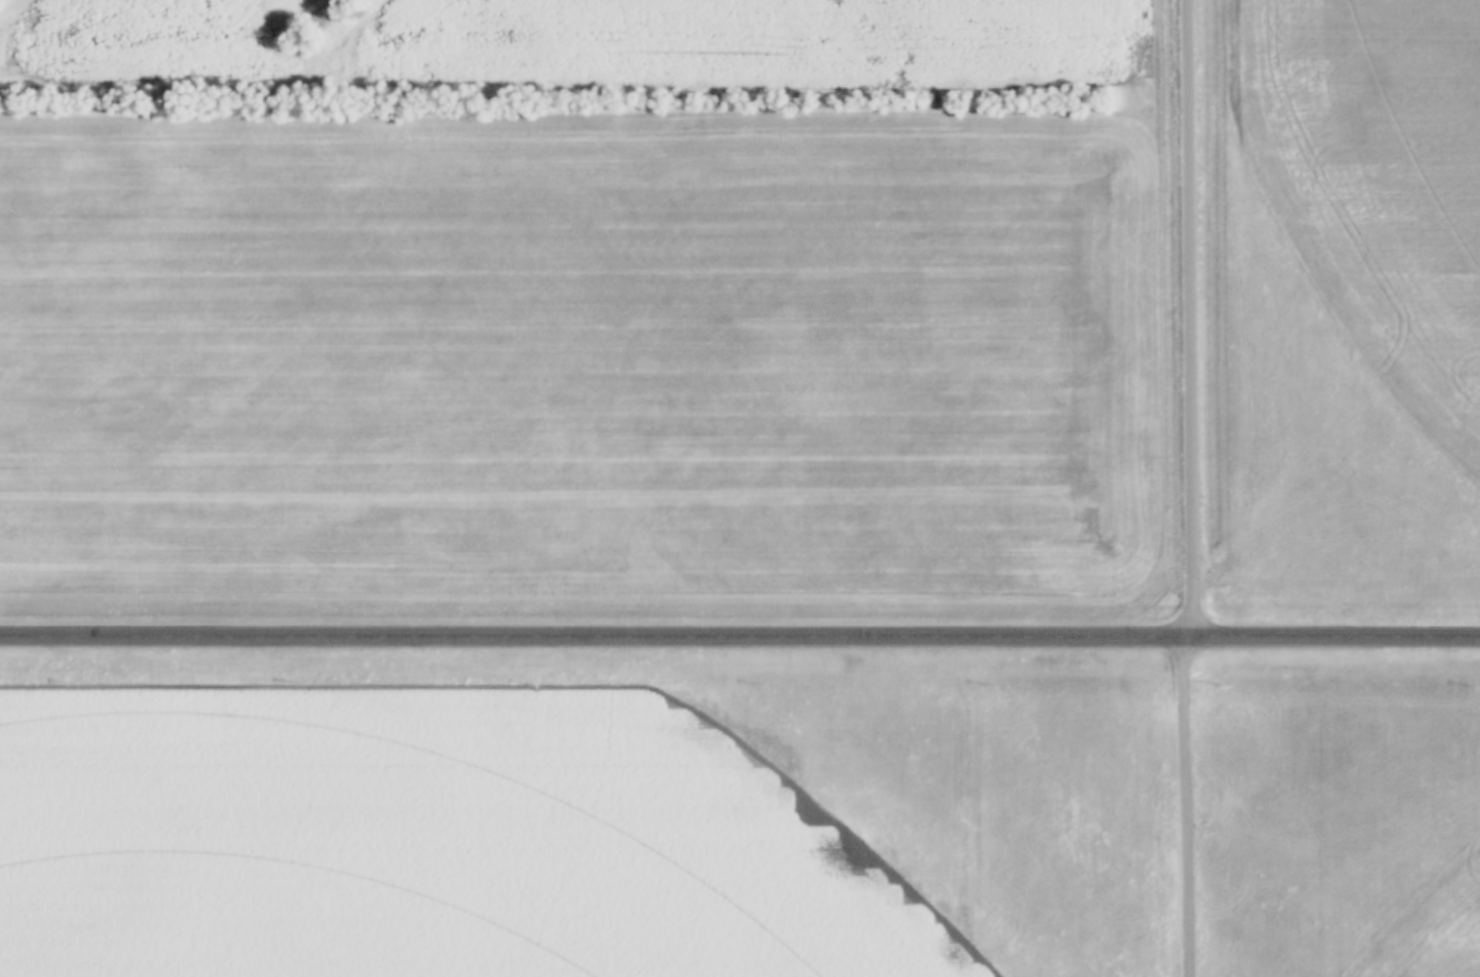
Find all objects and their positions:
road: (1186, 318)
road: (740, 637)
road: (1180, 806)

